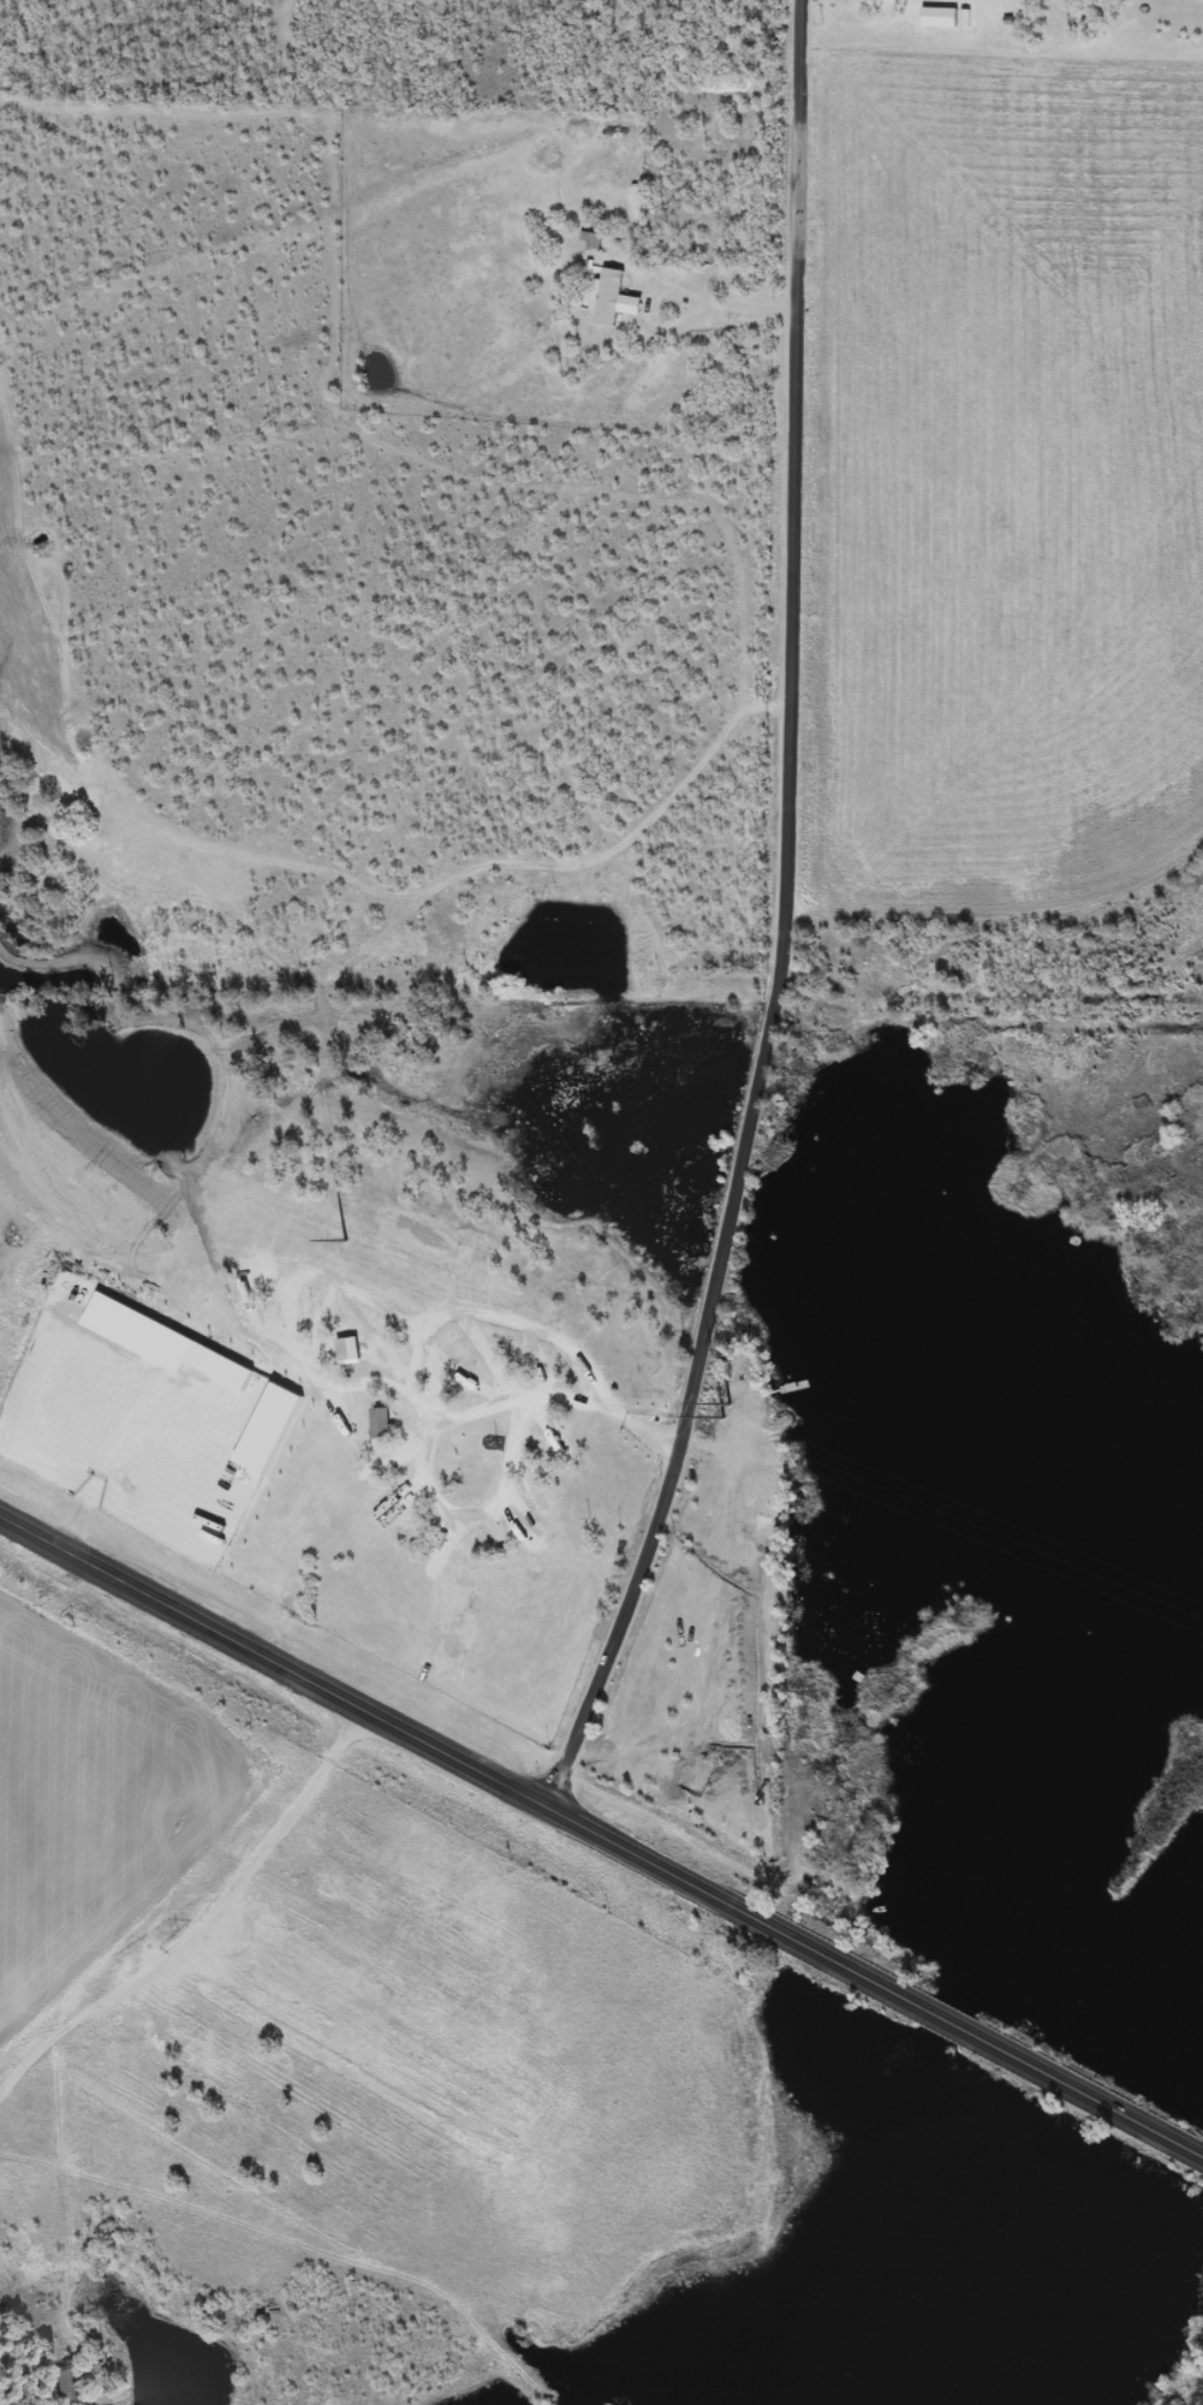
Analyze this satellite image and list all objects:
building: (942, 19)
building: (594, 242)
building: (614, 301)
road: (782, 921)
building: (351, 1350)
building: (496, 1371)
building: (386, 1424)
building: (534, 1433)
road: (601, 1836)
building: (105, 2371)
building: (66, 2386)

